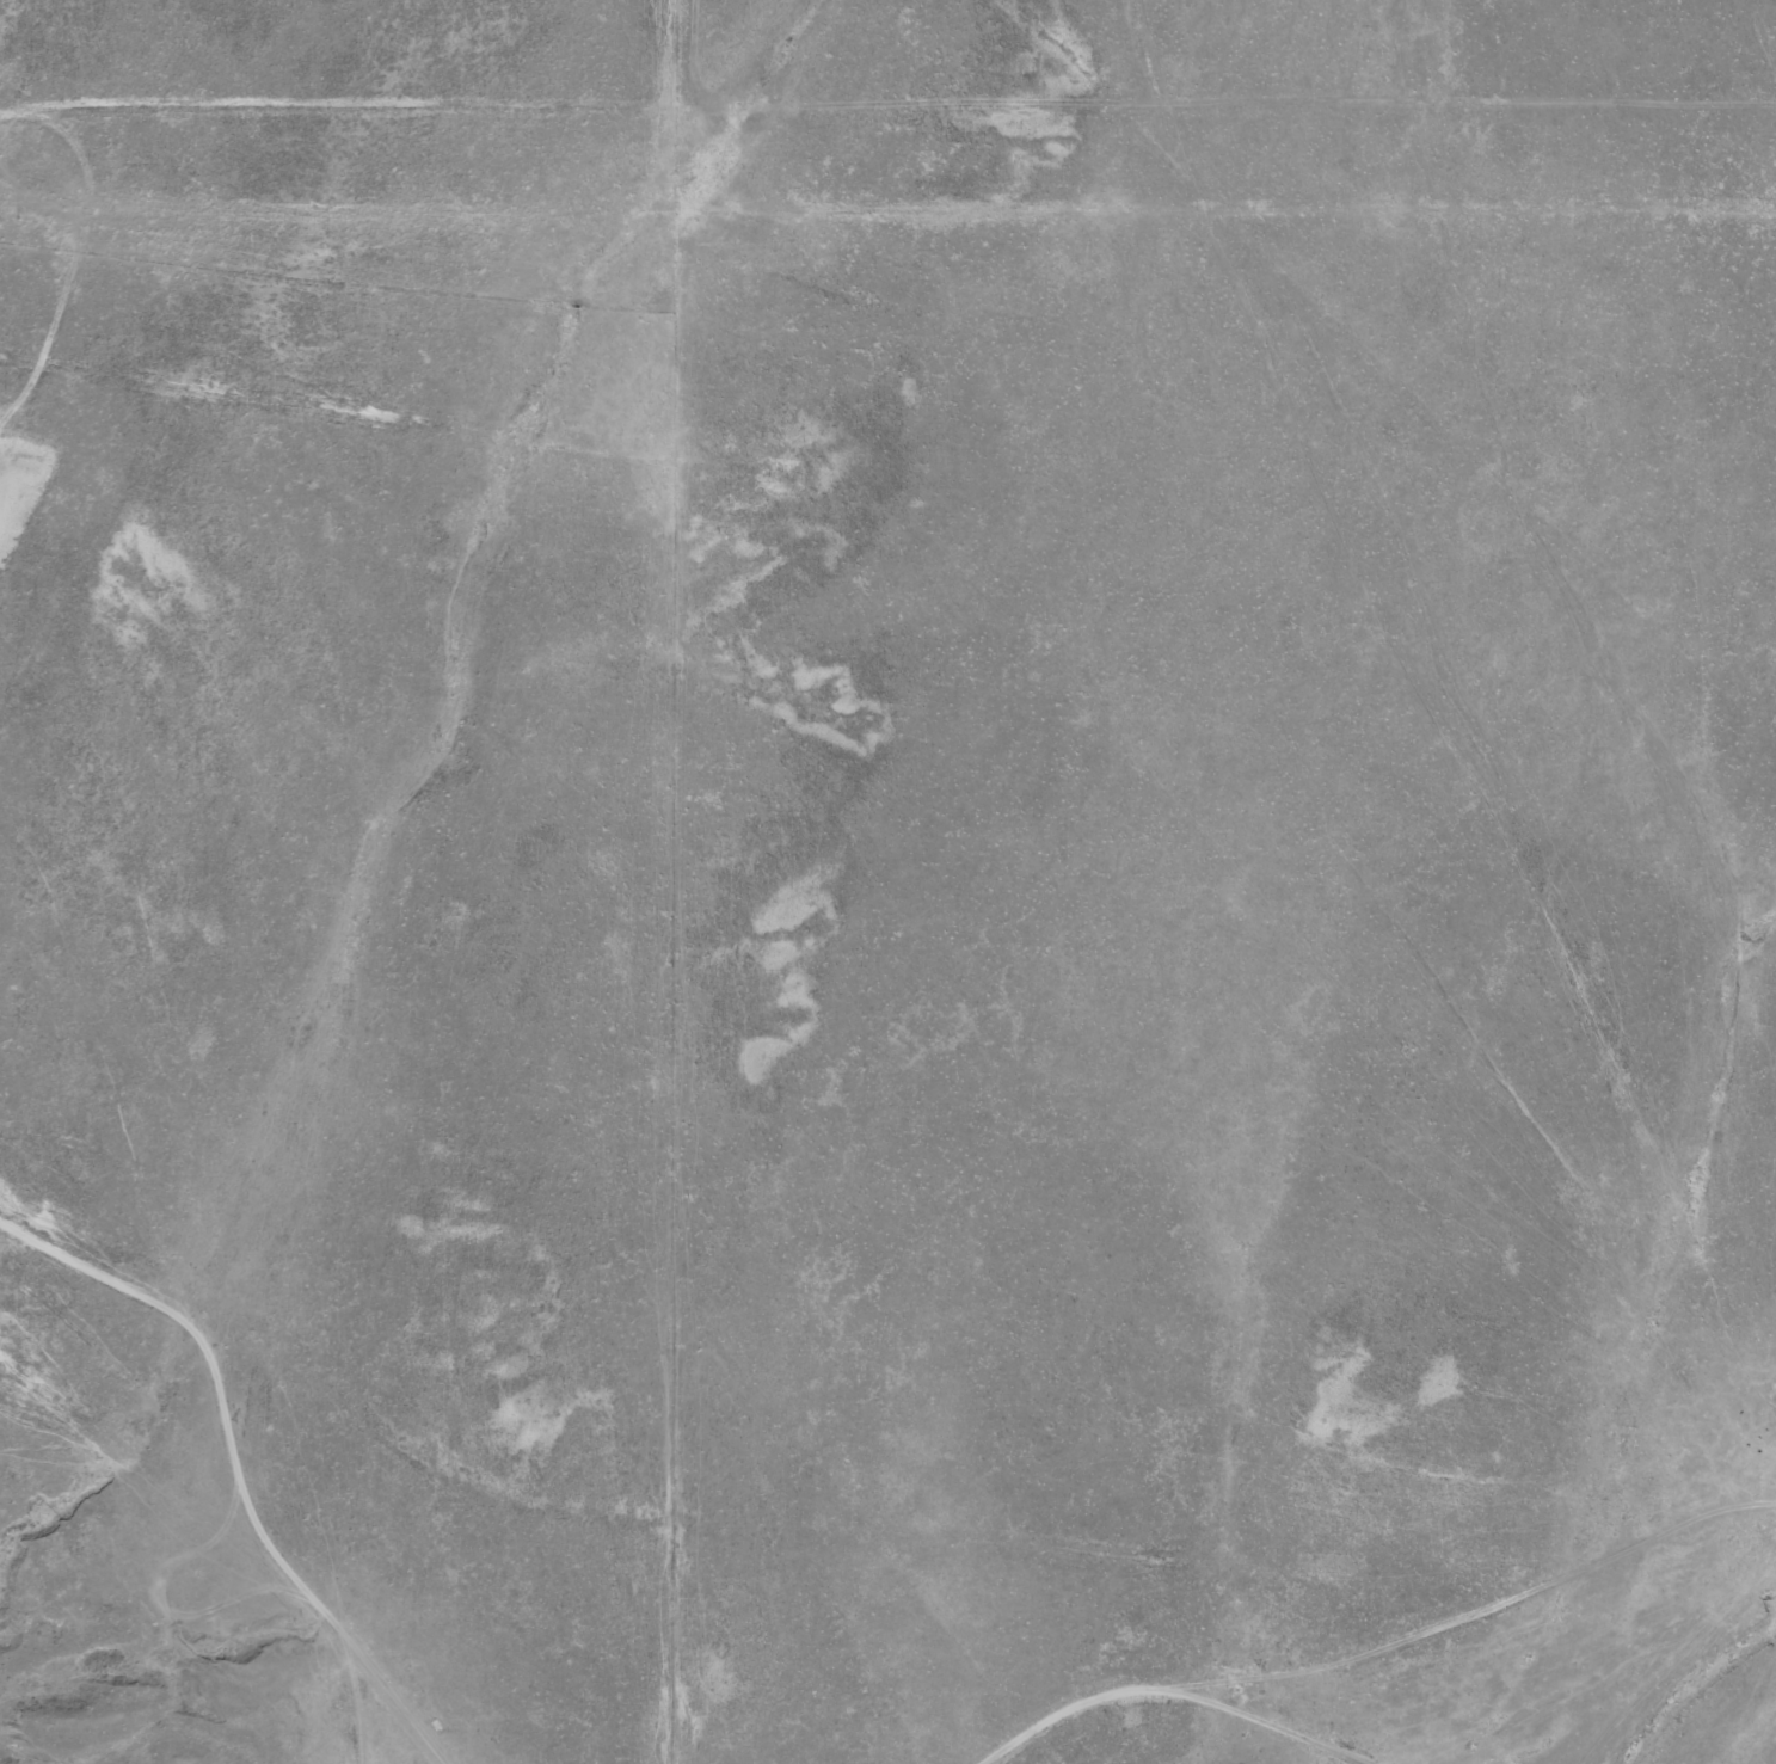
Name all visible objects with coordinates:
road: (333, 115)
road: (215, 1489)
road: (1534, 1614)
road: (1210, 1738)

